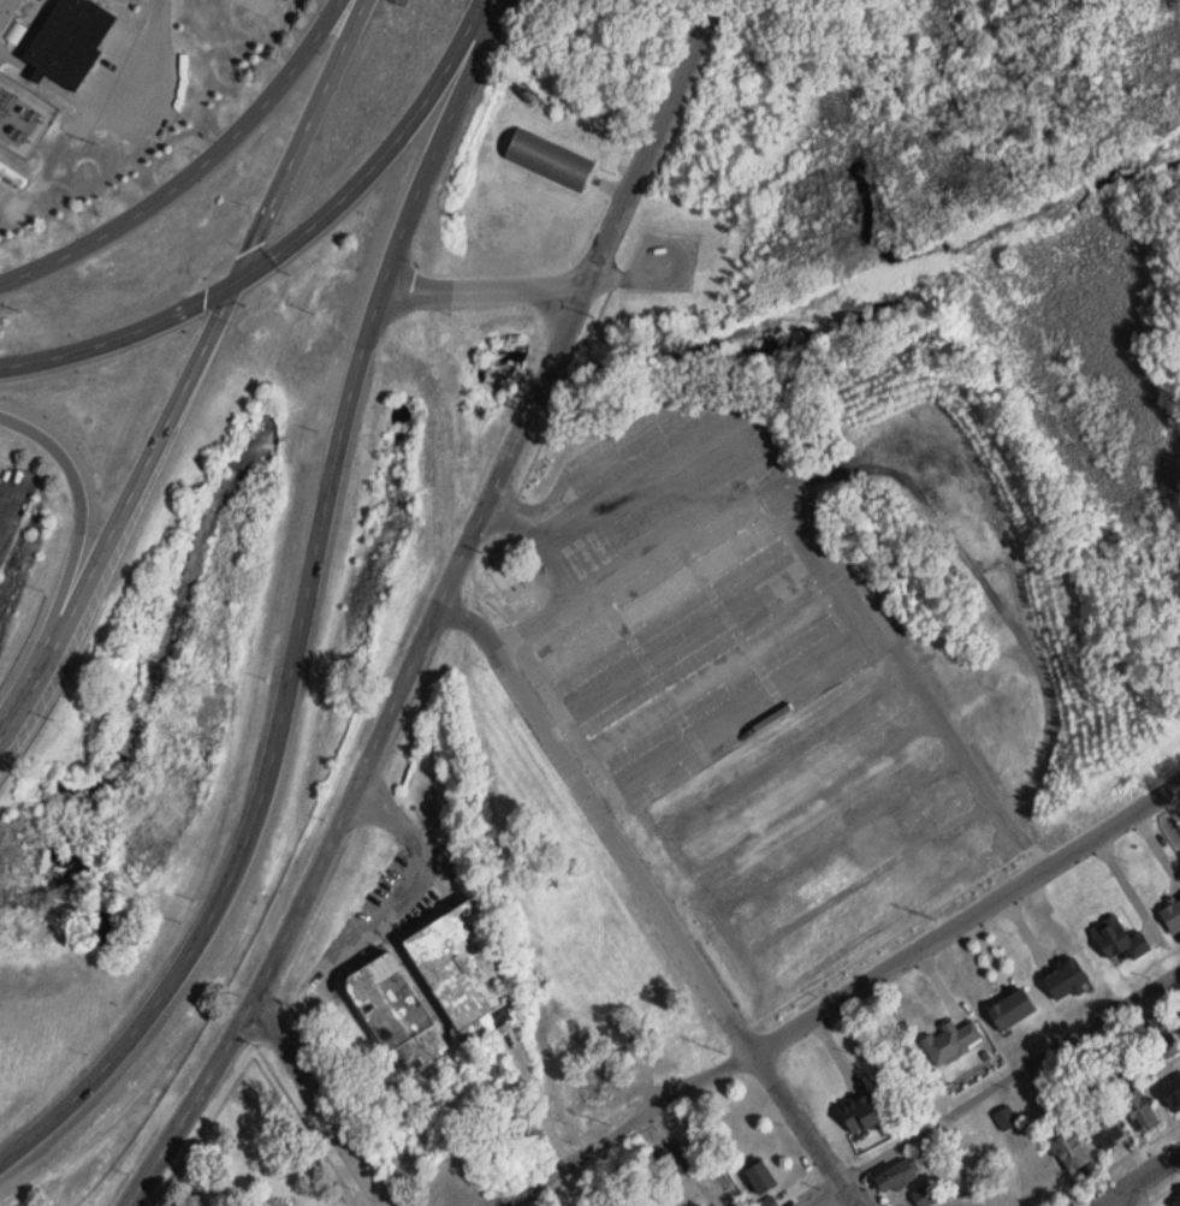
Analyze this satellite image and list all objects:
building: (70, 38)
road: (16, 59)
road: (37, 73)
road: (135, 100)
power substation: (22, 117)
building: (549, 158)
road: (195, 171)
park: (959, 226)
road: (287, 243)
road: (481, 287)
road: (189, 374)
road: (808, 521)
road: (75, 542)
building: (509, 582)
parking lot: (692, 588)
building: (659, 598)
road: (435, 610)
road: (303, 612)
building: (708, 676)
road: (413, 878)
road: (1125, 887)
road: (654, 896)
building: (1172, 917)
building: (1117, 939)
road: (1174, 969)
building: (459, 972)
building: (1065, 980)
road: (1174, 982)
road: (846, 997)
building: (1010, 1010)
building: (396, 1017)
building: (950, 1042)
building: (1163, 1046)
road: (1002, 1076)
building: (1172, 1094)
road: (322, 1103)
building: (1138, 1111)
building: (859, 1115)
building: (1006, 1118)
building: (1105, 1131)
building: (1069, 1151)
building: (674, 1163)
road: (1113, 1163)
building: (759, 1177)
building: (894, 1177)
road: (1137, 1178)
road: (1161, 1190)
building: (1179, 1193)
building: (926, 1195)
building: (1178, 1205)

